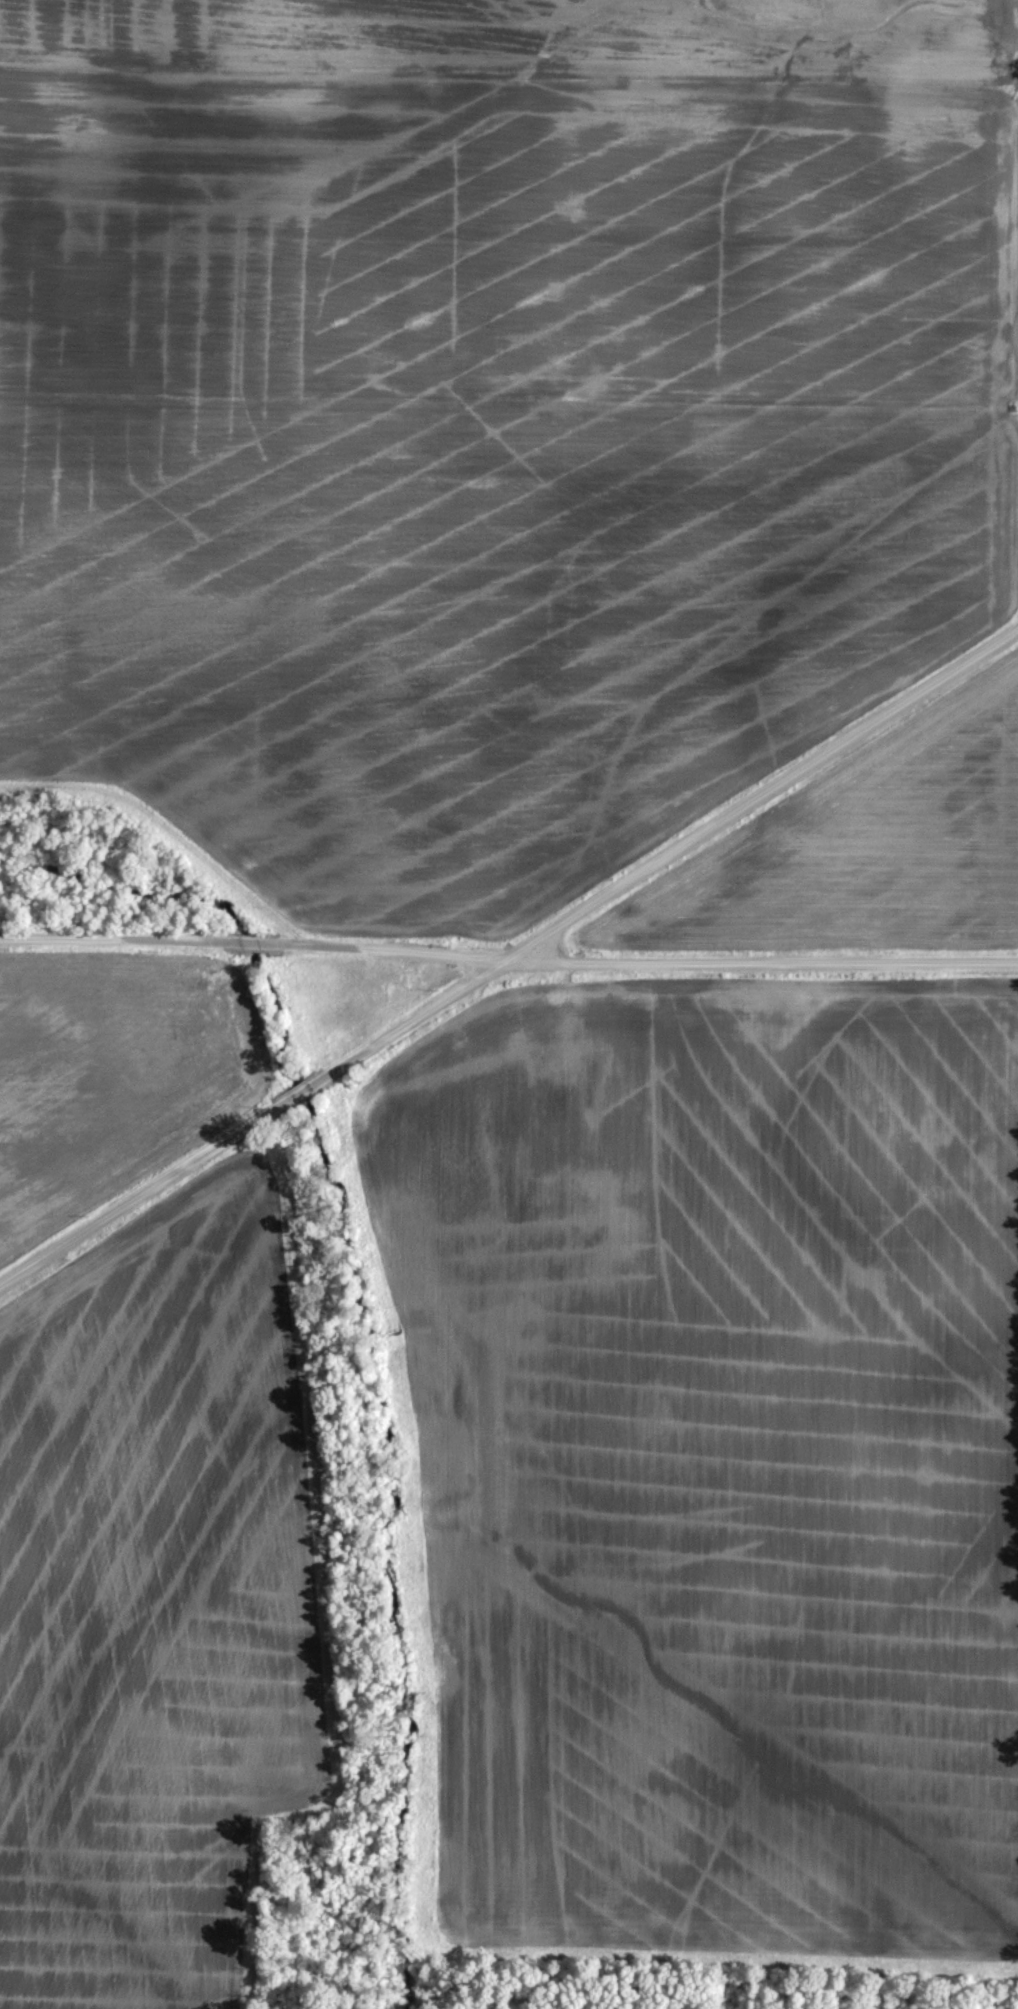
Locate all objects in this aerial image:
road: (513, 951)
road: (508, 954)

